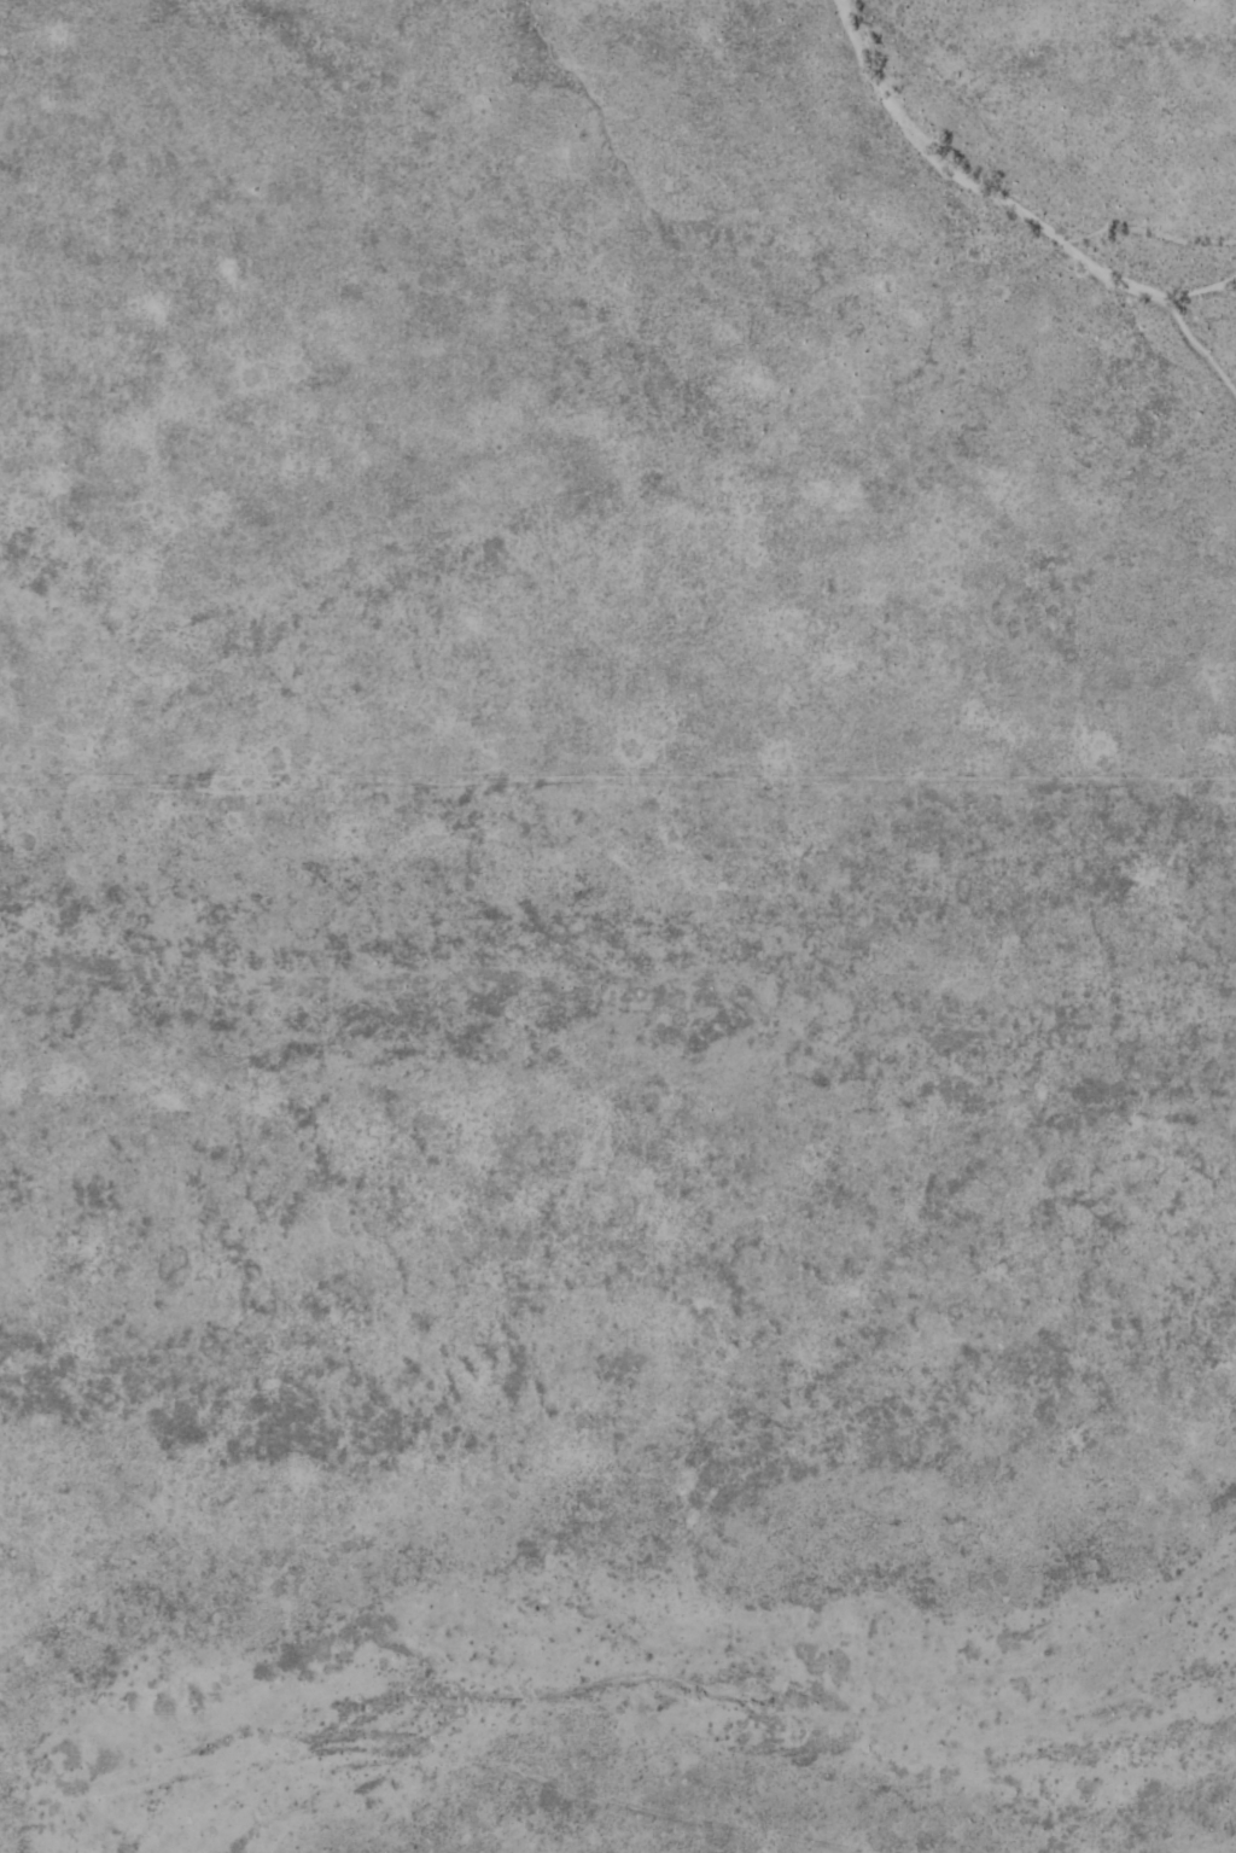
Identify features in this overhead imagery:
road: (355, 1695)

